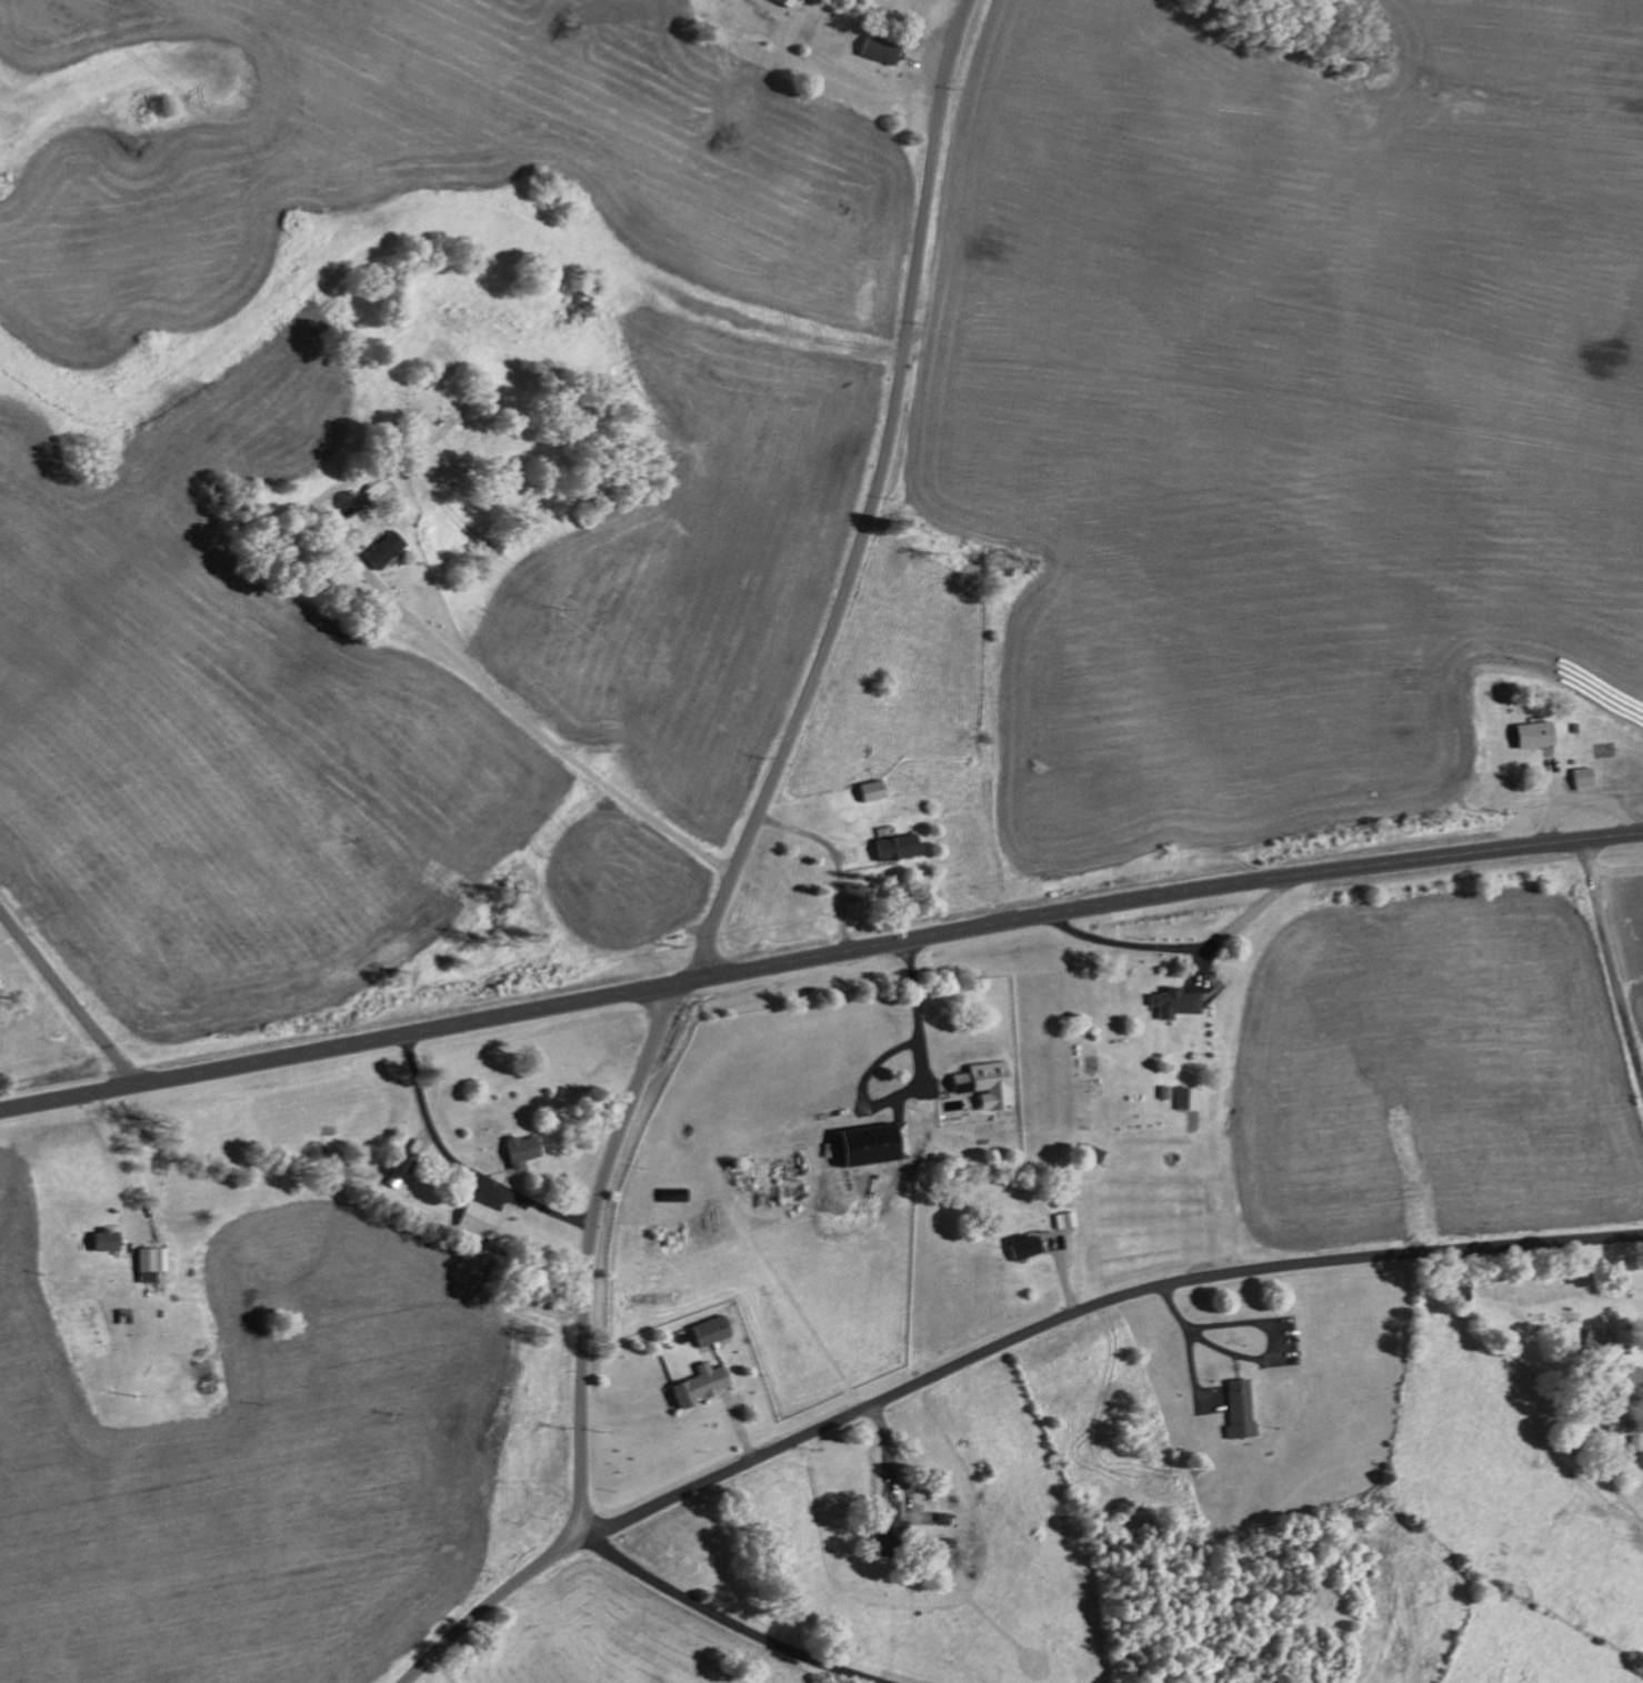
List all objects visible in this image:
building: (879, 48)
road: (894, 419)
road: (341, 482)
building: (384, 550)
road: (502, 705)
building: (1535, 734)
building: (1584, 777)
building: (872, 790)
building: (895, 845)
road: (721, 898)
road: (819, 958)
road: (1611, 965)
road: (68, 998)
building: (1174, 1002)
road: (918, 1015)
building: (1189, 1099)
building: (872, 1144)
building: (518, 1151)
road: (462, 1164)
building: (1066, 1220)
building: (477, 1221)
building: (103, 1241)
building: (1025, 1245)
building: (149, 1264)
road: (1092, 1308)
building: (711, 1331)
building: (1599, 1341)
road: (1254, 1362)
road: (583, 1365)
building: (1631, 1378)
building: (700, 1385)
building: (1240, 1410)
building: (1636, 1443)
building: (1634, 1466)
road: (578, 1530)
road: (725, 1621)
road: (442, 1670)

